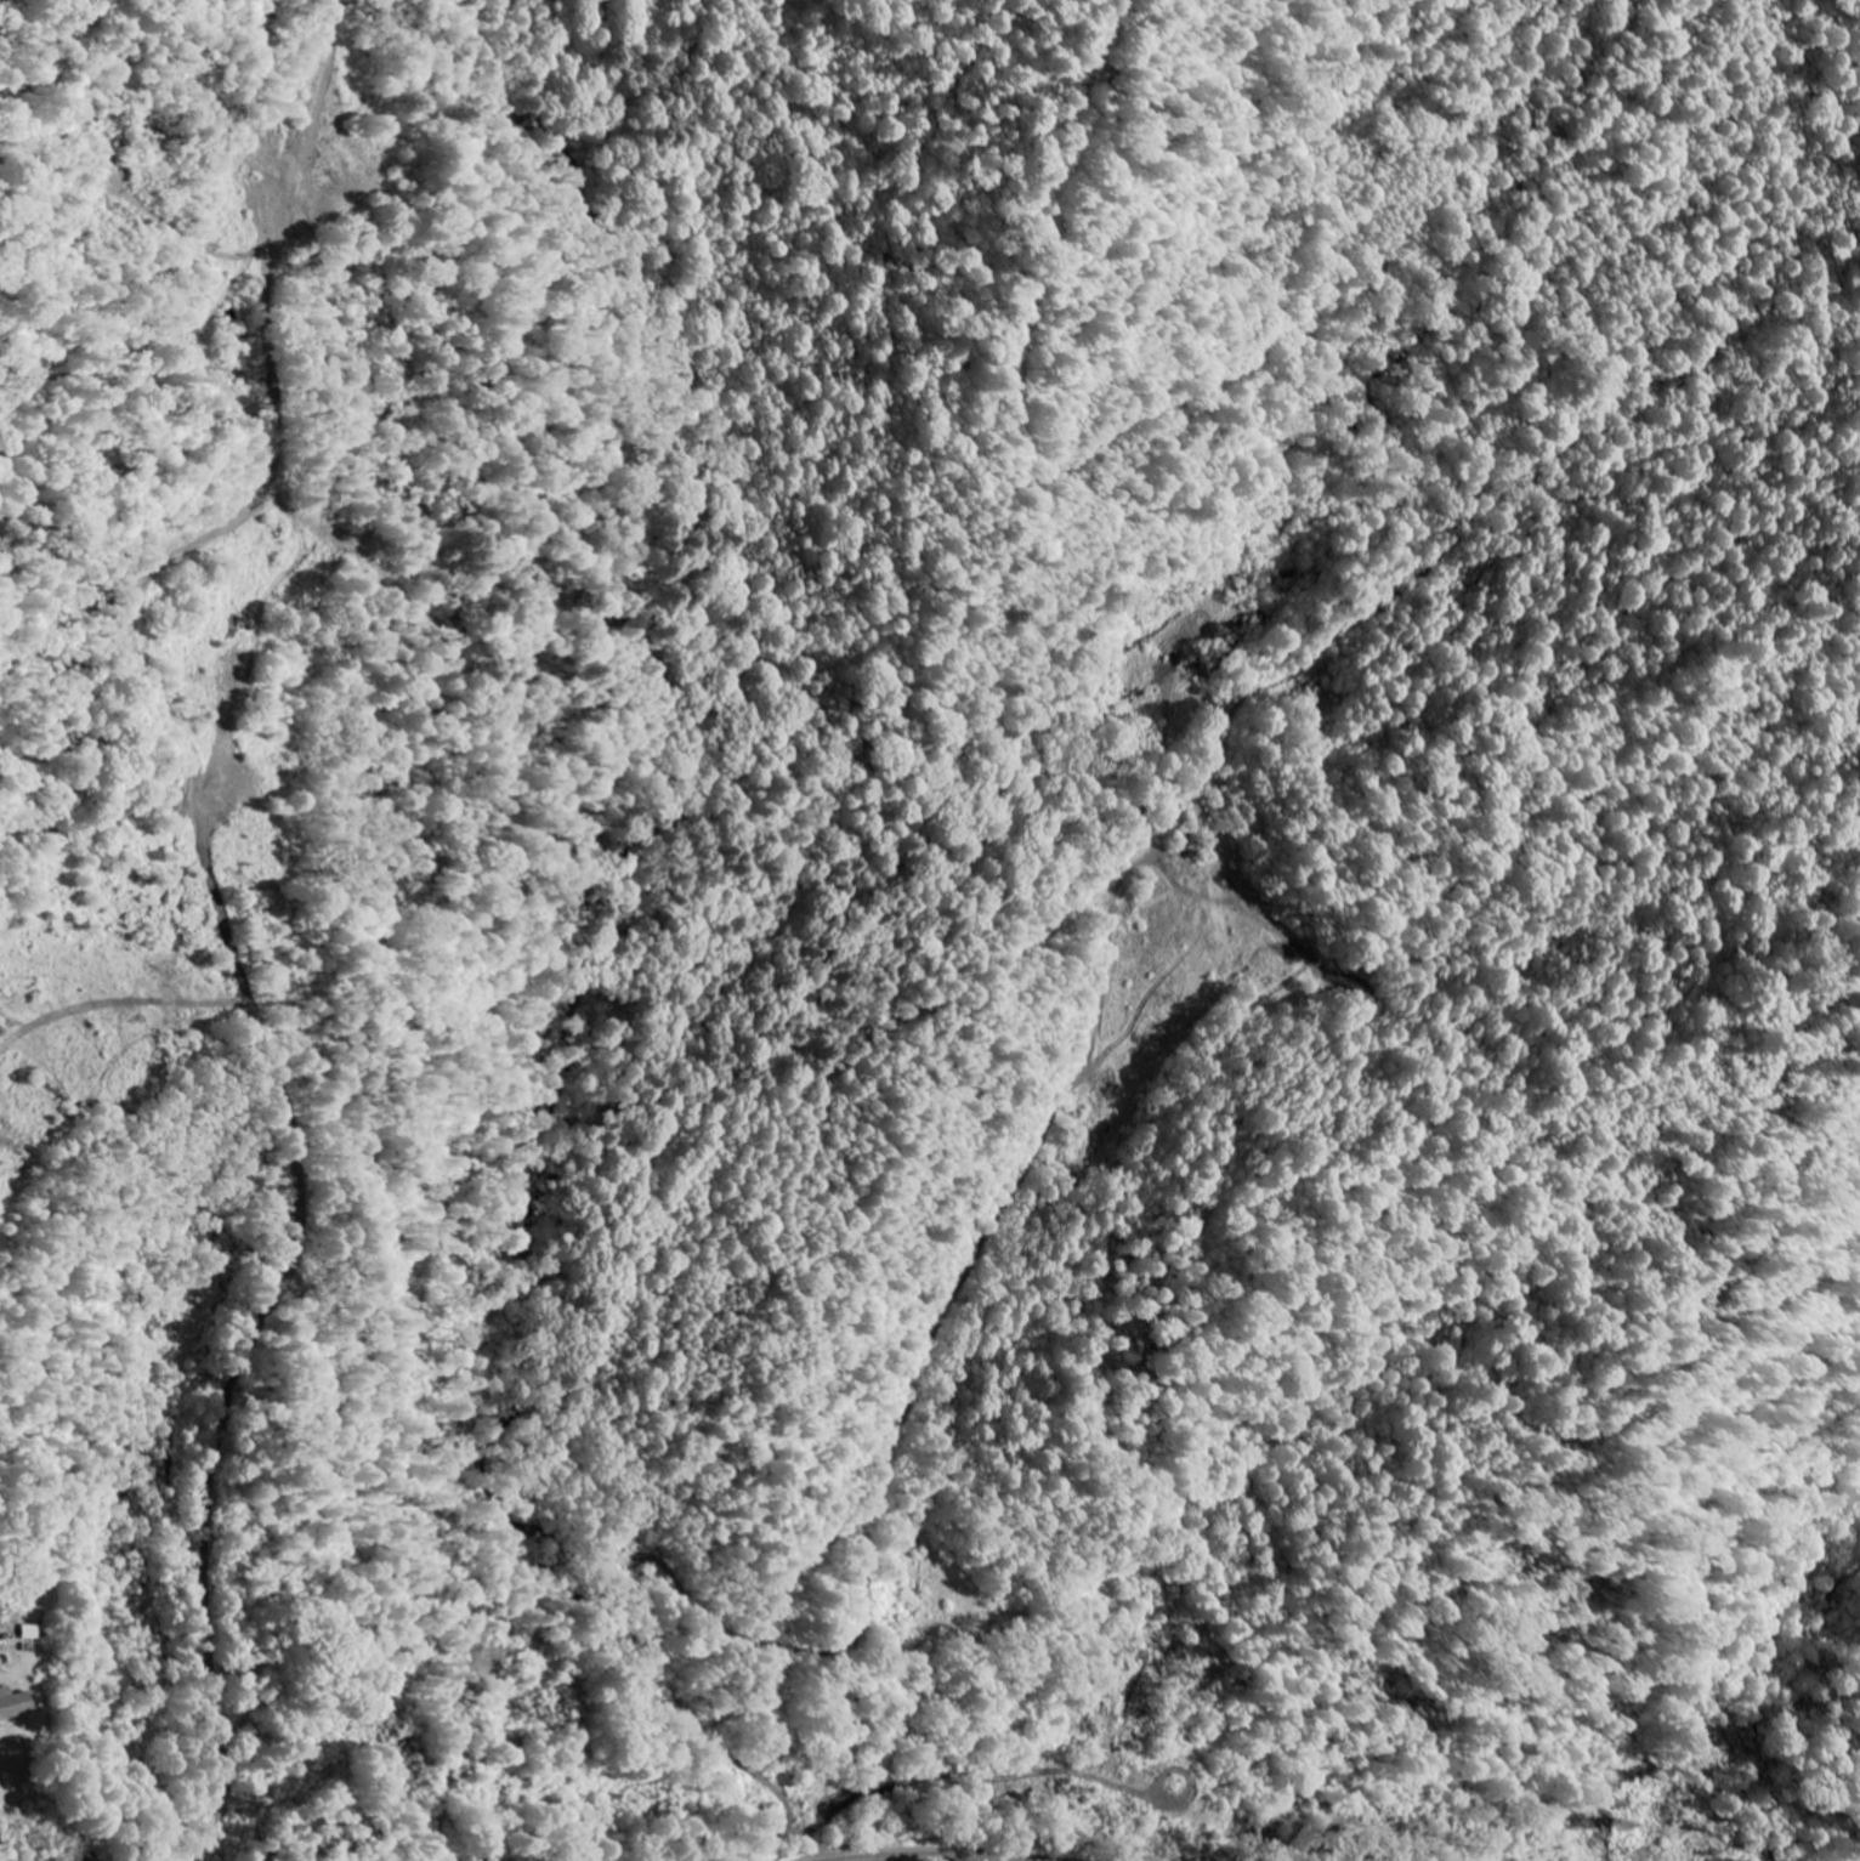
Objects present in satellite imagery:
building: (25, 1632)
building: (11, 1703)
road: (934, 1857)

